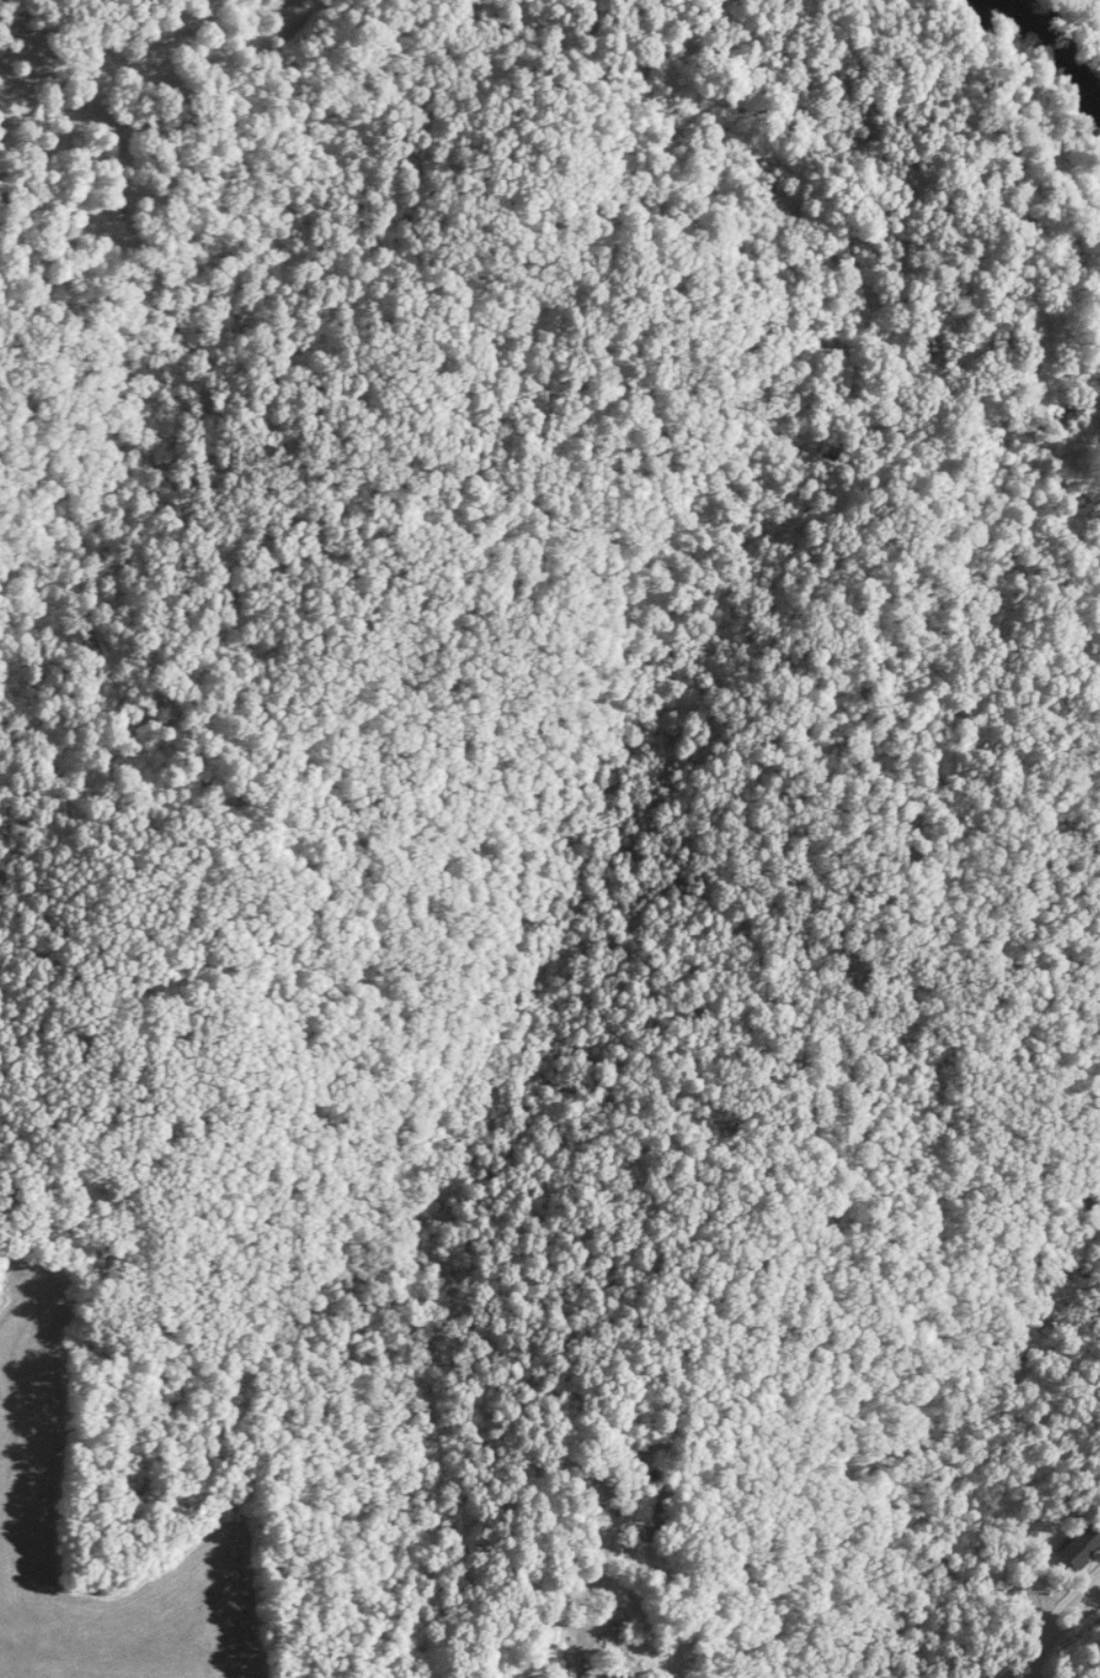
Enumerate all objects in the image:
road: (1022, 1551)
road: (1055, 1634)

